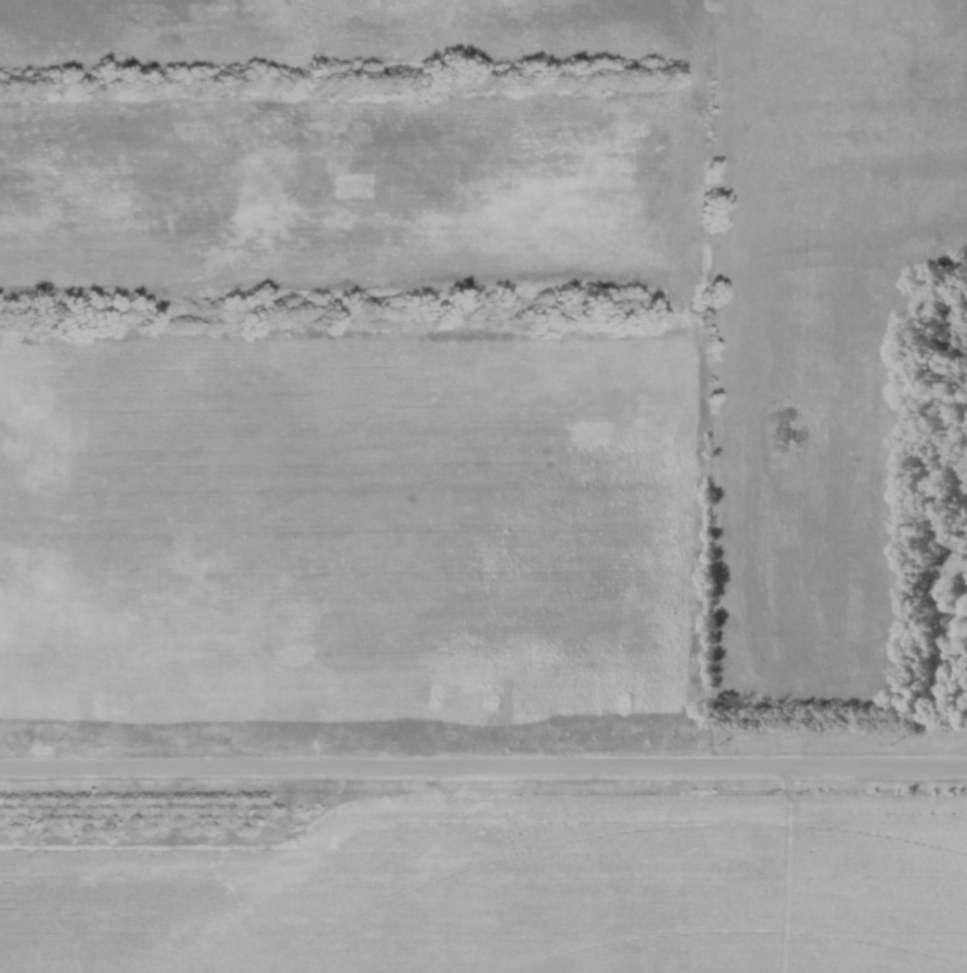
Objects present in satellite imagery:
road: (483, 770)

